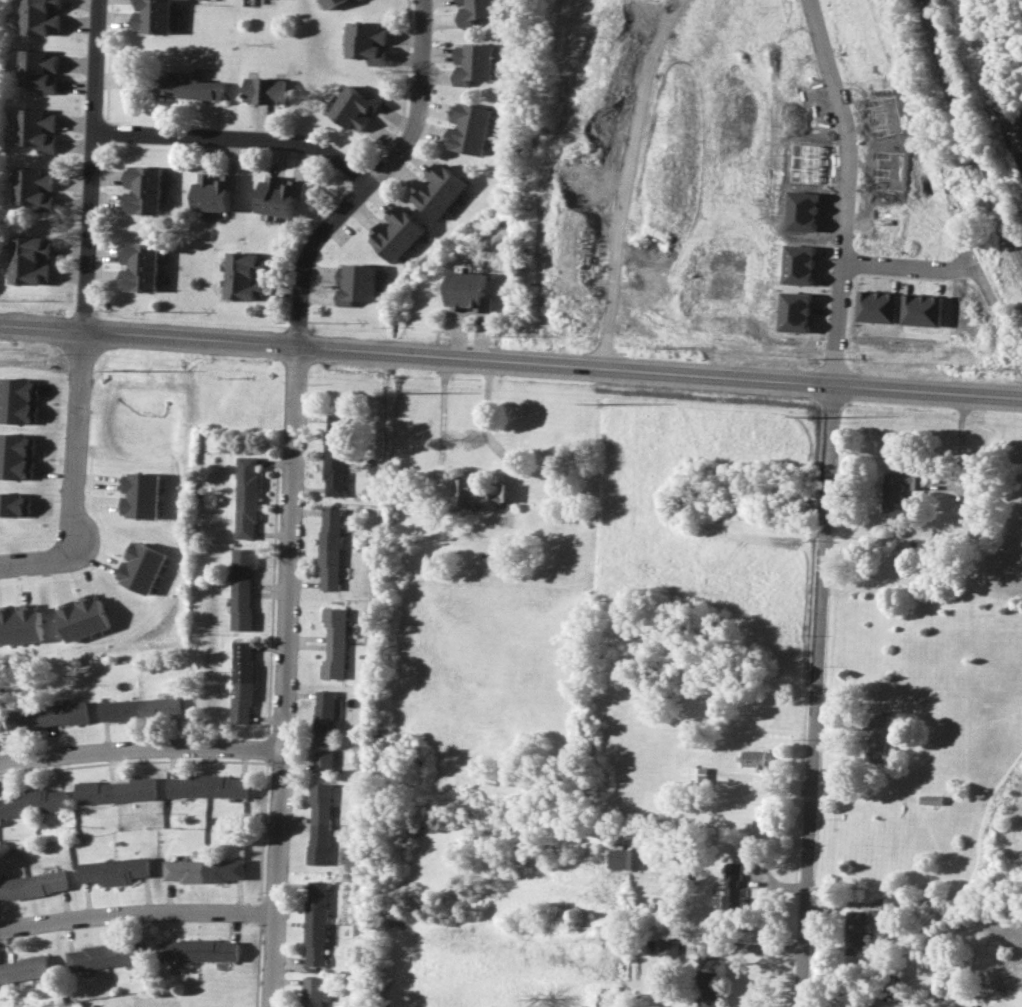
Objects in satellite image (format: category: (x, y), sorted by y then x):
building: (353, 1)
building: (330, 3)
building: (475, 11)
building: (41, 16)
building: (153, 16)
road: (432, 20)
building: (364, 42)
park: (1, 45)
building: (474, 62)
building: (38, 70)
building: (190, 87)
building: (264, 90)
building: (354, 107)
railway: (967, 126)
building: (36, 128)
building: (470, 128)
road: (239, 136)
road: (97, 166)
road: (624, 181)
building: (34, 188)
building: (143, 189)
road: (356, 189)
building: (439, 190)
road: (845, 191)
building: (214, 192)
building: (279, 197)
building: (398, 233)
building: (29, 260)
building: (797, 264)
road: (901, 264)
building: (138, 266)
building: (244, 275)
building: (357, 283)
building: (468, 291)
building: (876, 306)
building: (921, 310)
building: (793, 311)
road: (511, 362)
building: (18, 400)
road: (485, 413)
building: (335, 454)
building: (16, 456)
road: (71, 478)
building: (898, 491)
building: (479, 494)
building: (140, 495)
building: (246, 497)
building: (14, 504)
building: (329, 548)
building: (142, 567)
building: (241, 589)
building: (83, 617)
building: (21, 626)
building: (334, 643)
road: (283, 679)
building: (240, 682)
road: (819, 697)
building: (139, 708)
building: (52, 715)
building: (323, 731)
building: (878, 737)
road: (139, 745)
building: (754, 759)
building: (698, 773)
building: (207, 786)
building: (115, 790)
building: (32, 802)
building: (319, 823)
building: (623, 858)
building: (114, 870)
building: (203, 870)
building: (33, 884)
building: (732, 886)
building: (891, 903)
road: (136, 912)
building: (316, 922)
building: (856, 932)
building: (668, 948)
building: (198, 950)
building: (105, 955)
building: (24, 968)
building: (708, 989)
building: (315, 991)

